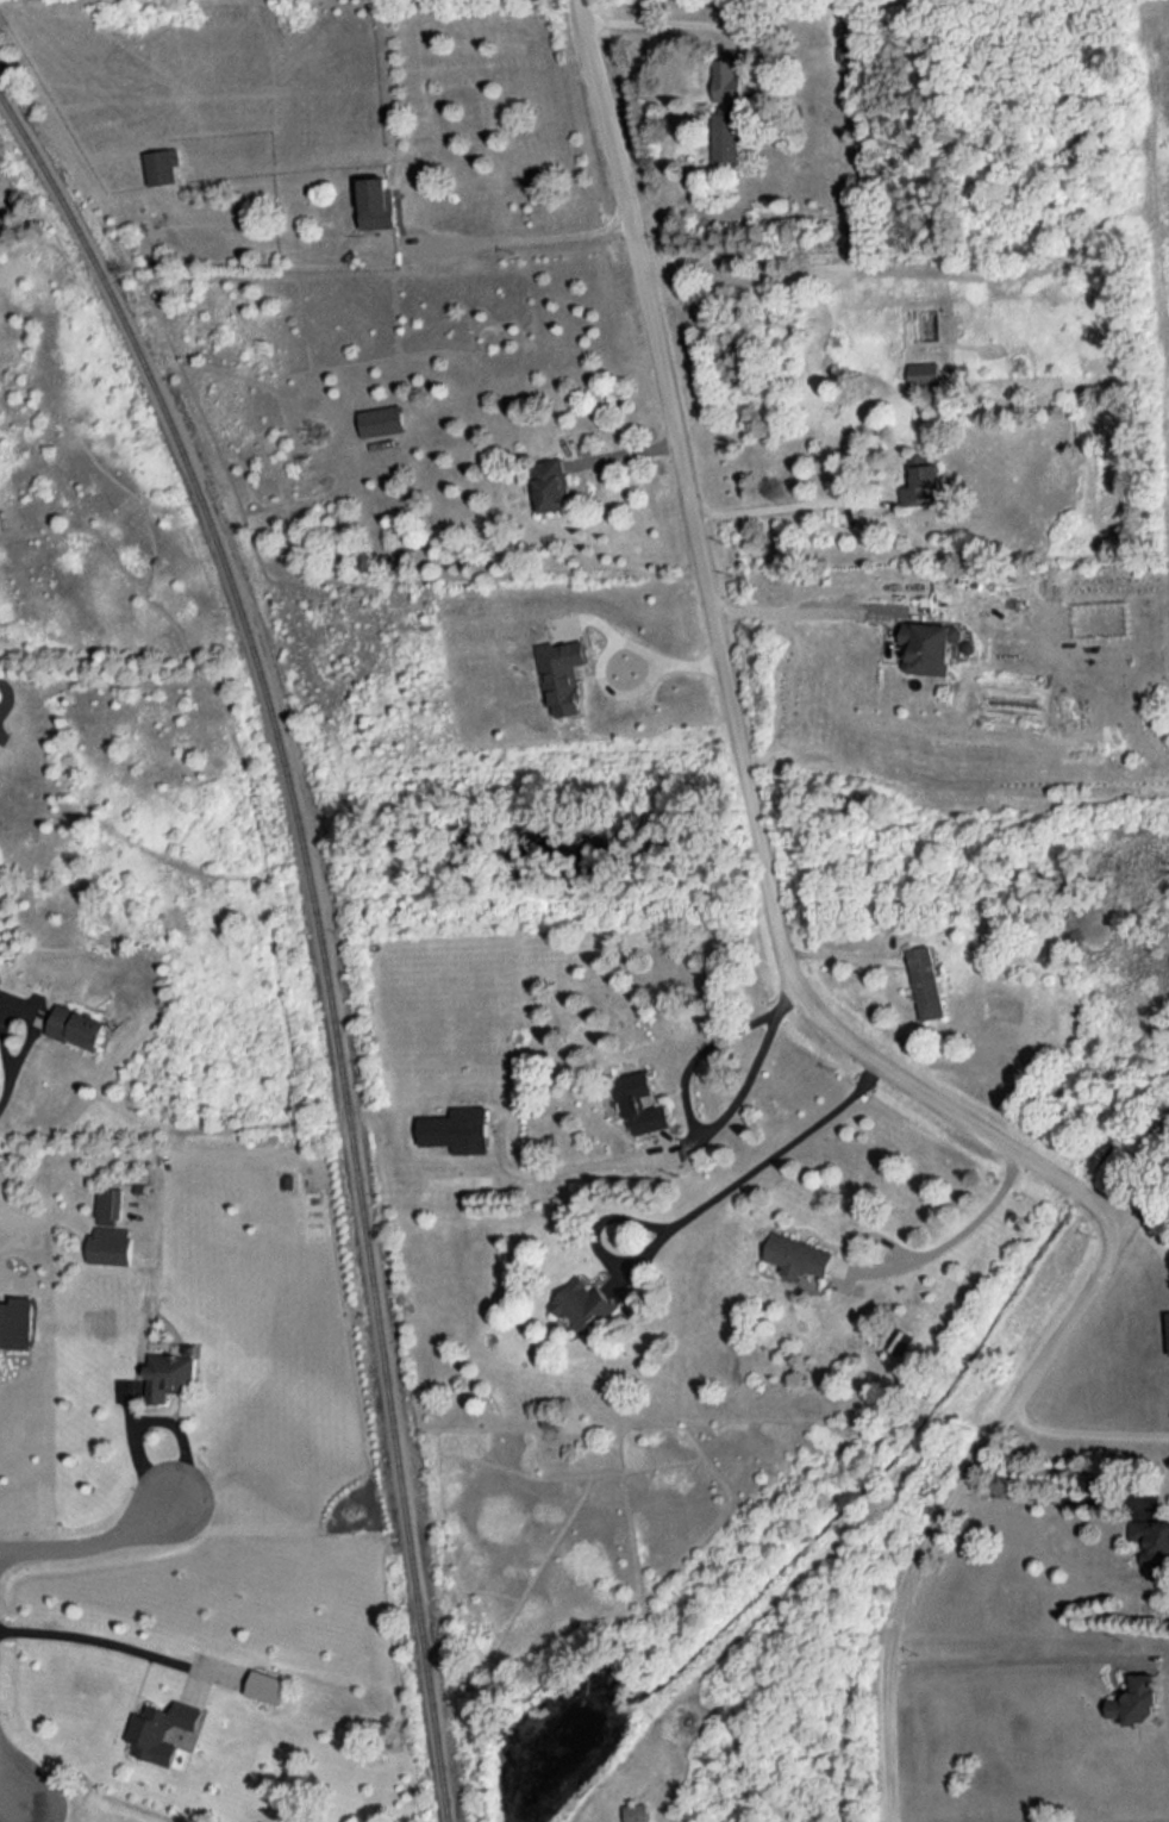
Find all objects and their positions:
road: (671, 20)
building: (729, 80)
building: (727, 135)
building: (162, 164)
building: (377, 202)
road: (536, 237)
building: (924, 373)
building: (381, 419)
building: (924, 480)
building: (551, 483)
road: (773, 505)
road: (792, 606)
road: (611, 641)
building: (930, 645)
road: (725, 663)
building: (562, 674)
railway: (320, 929)
building: (927, 981)
building: (80, 1027)
road: (14, 1068)
building: (642, 1102)
building: (460, 1129)
road: (707, 1135)
road: (767, 1163)
road: (1140, 1196)
building: (107, 1205)
road: (970, 1227)
building: (110, 1243)
building: (799, 1255)
building: (583, 1303)
building: (15, 1324)
building: (170, 1372)
road: (132, 1385)
road: (1089, 1422)
road: (963, 1484)
road: (1054, 1498)
building: (1152, 1540)
road: (92, 1542)
road: (100, 1639)
road: (1009, 1659)
building: (267, 1685)
building: (1139, 1699)
building: (162, 1729)
road: (15, 1792)
building: (637, 1811)
road: (32, 1818)

